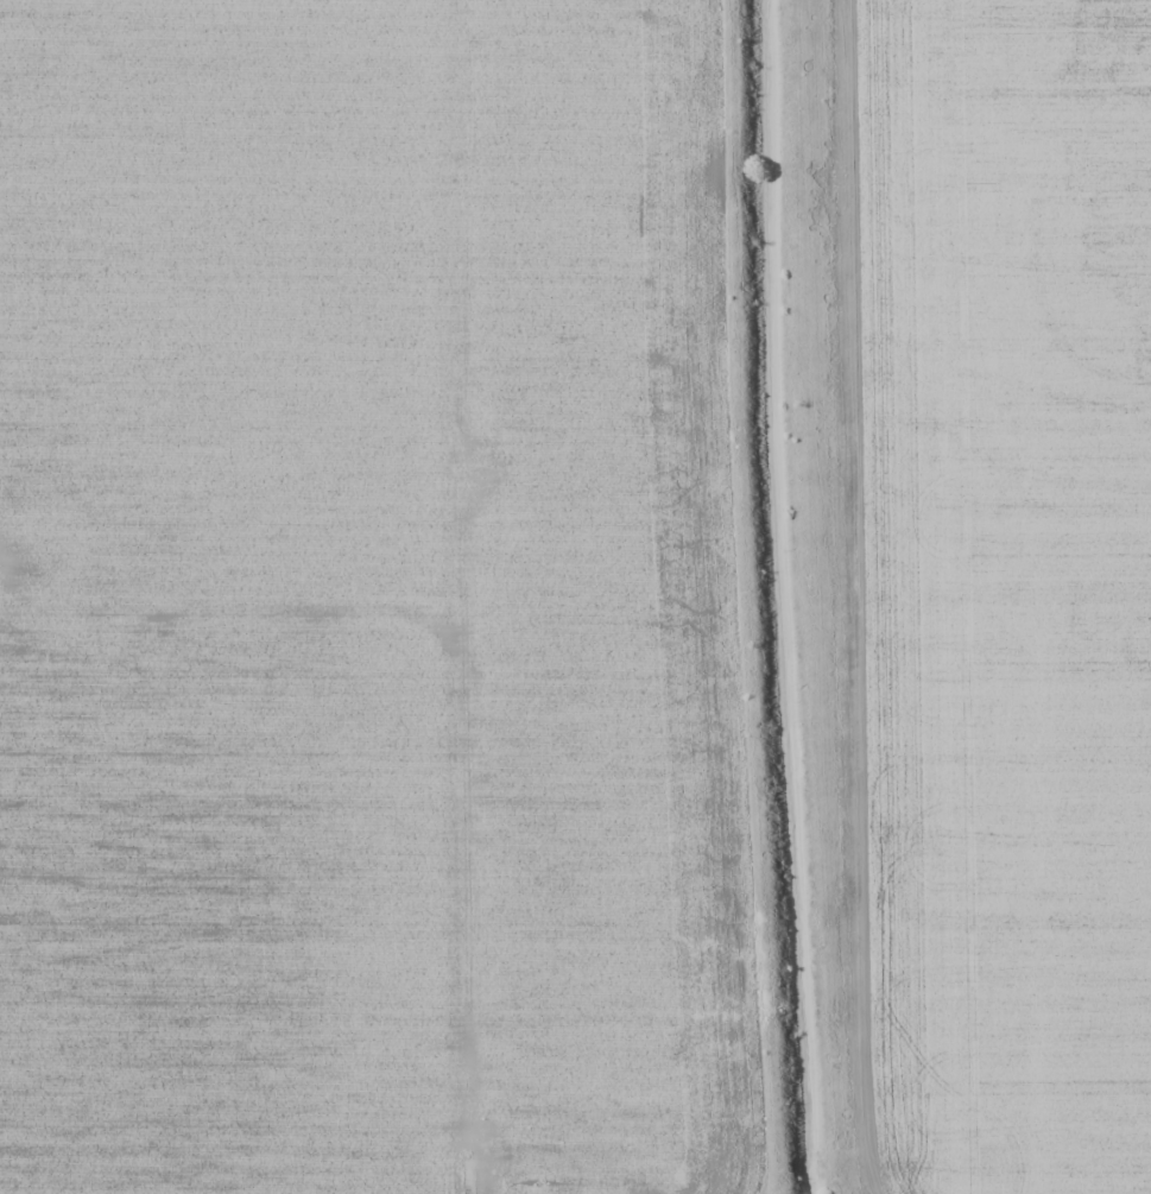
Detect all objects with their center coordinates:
road: (924, 596)
building: (639, 1163)

